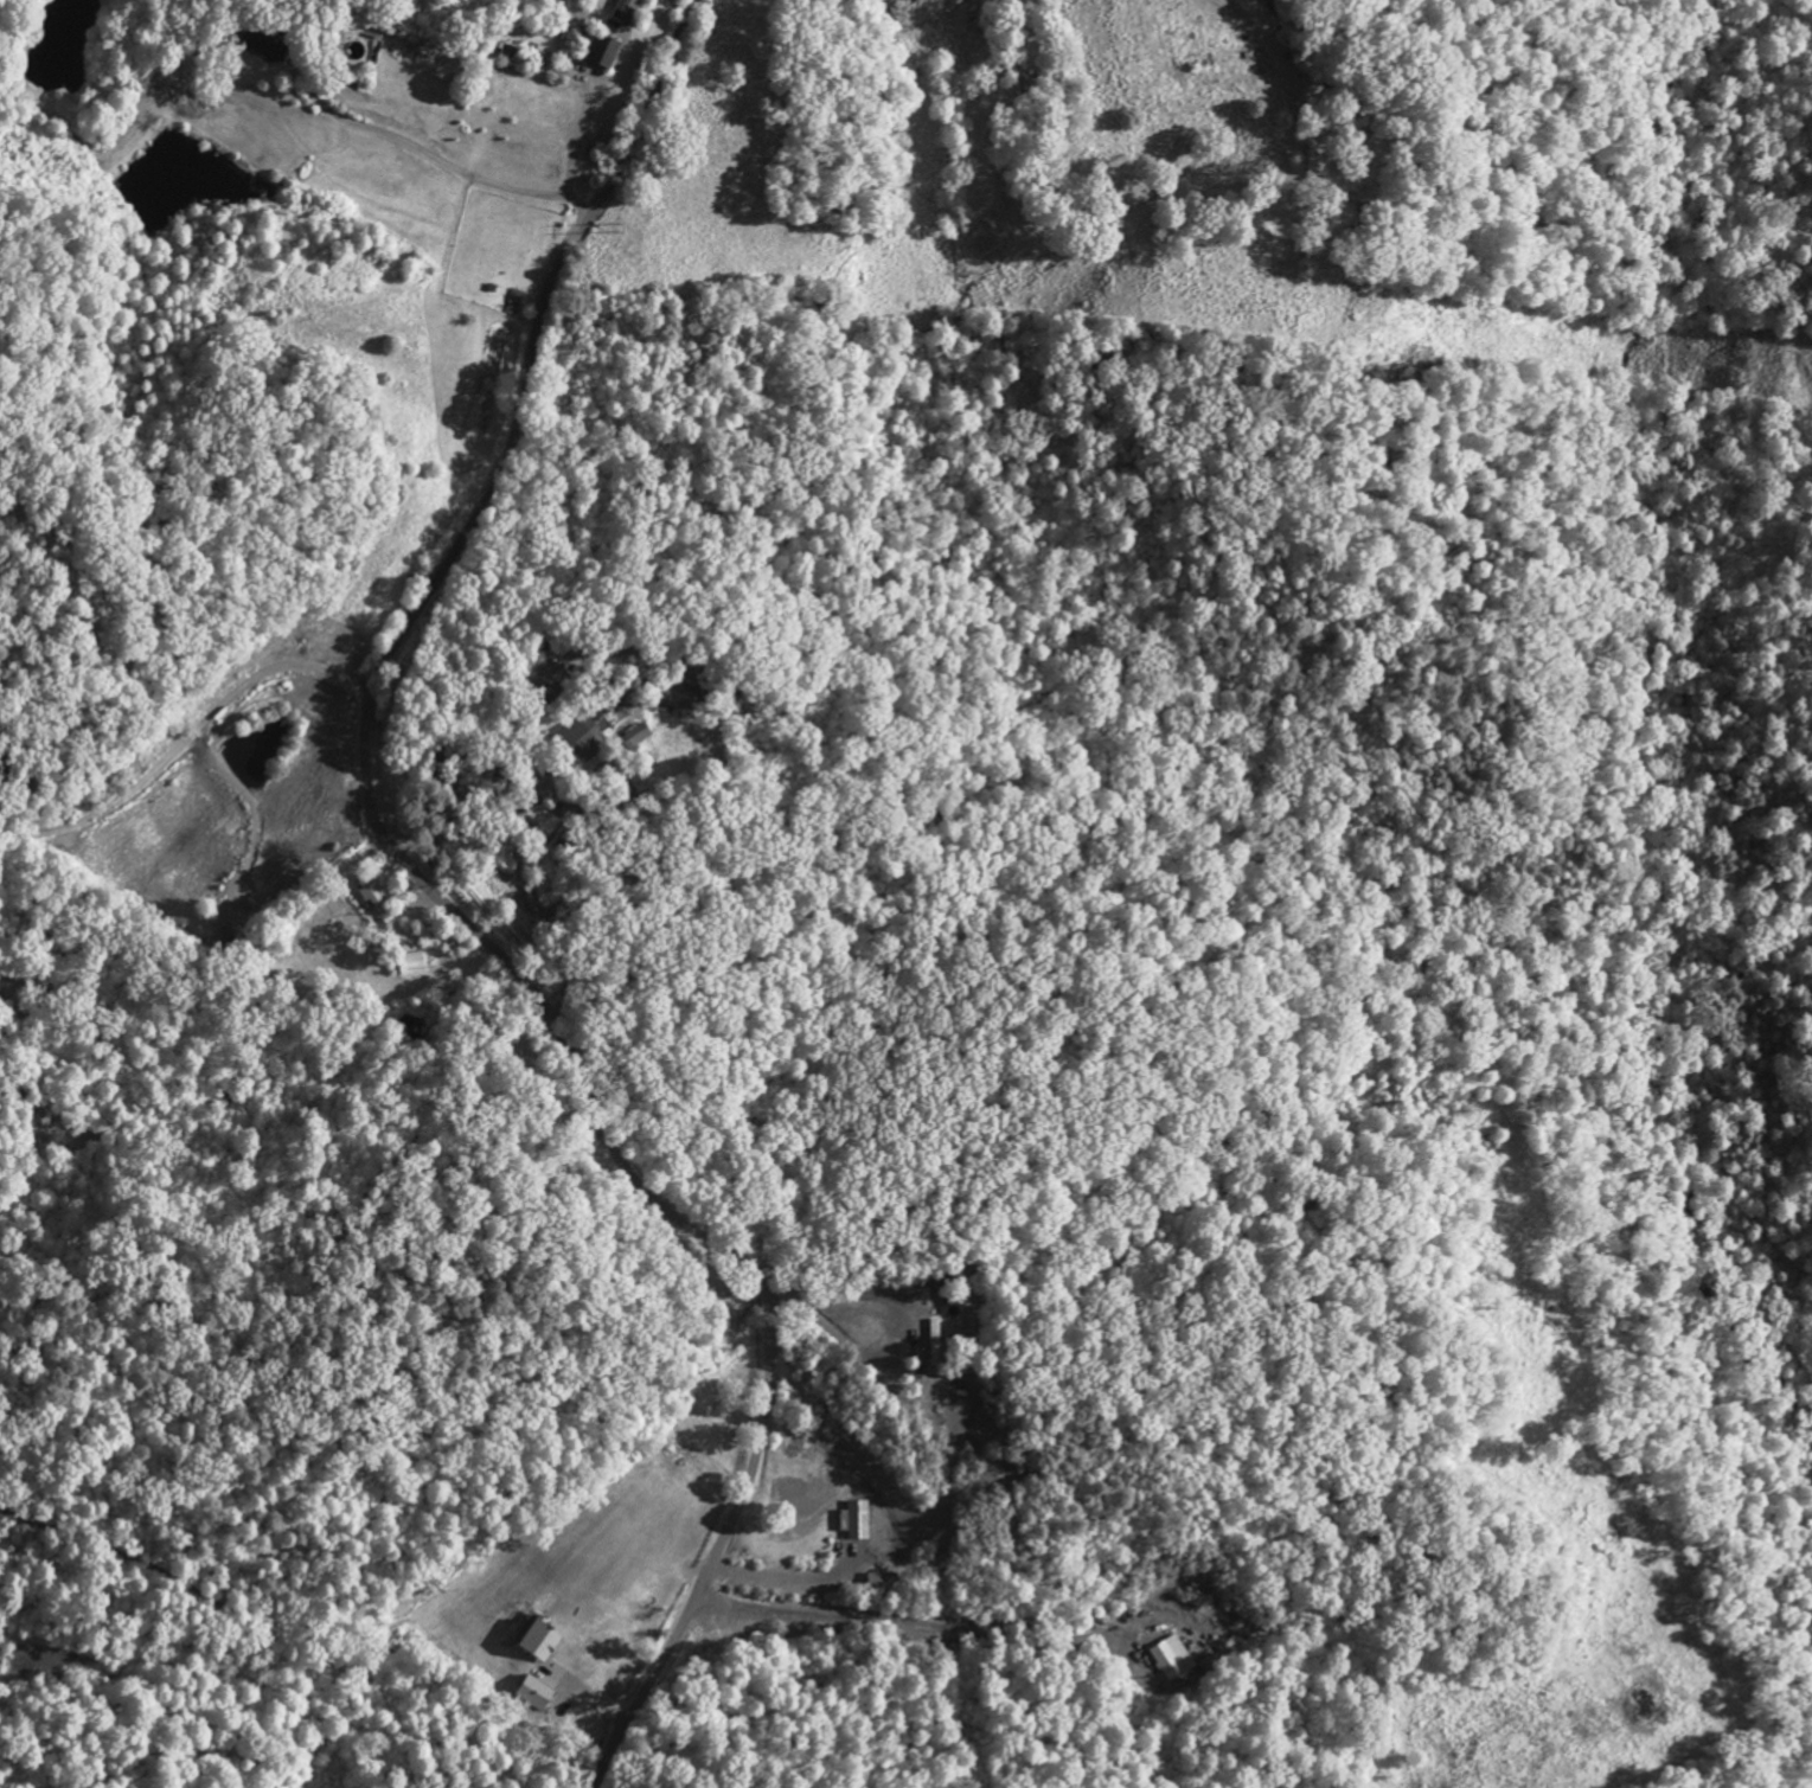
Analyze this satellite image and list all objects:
building: (623, 6)
building: (262, 47)
building: (594, 57)
road: (427, 159)
power tower: (614, 229)
building: (513, 306)
power tower: (1257, 307)
building: (548, 685)
building: (674, 700)
road: (187, 724)
building: (633, 741)
building: (580, 743)
road: (468, 827)
building: (370, 897)
building: (531, 905)
road: (460, 917)
building: (409, 968)
road: (835, 1286)
building: (856, 1524)
road: (813, 1577)
building: (877, 1587)
road: (894, 1622)
building: (532, 1645)
building: (1168, 1661)
building: (531, 1696)

